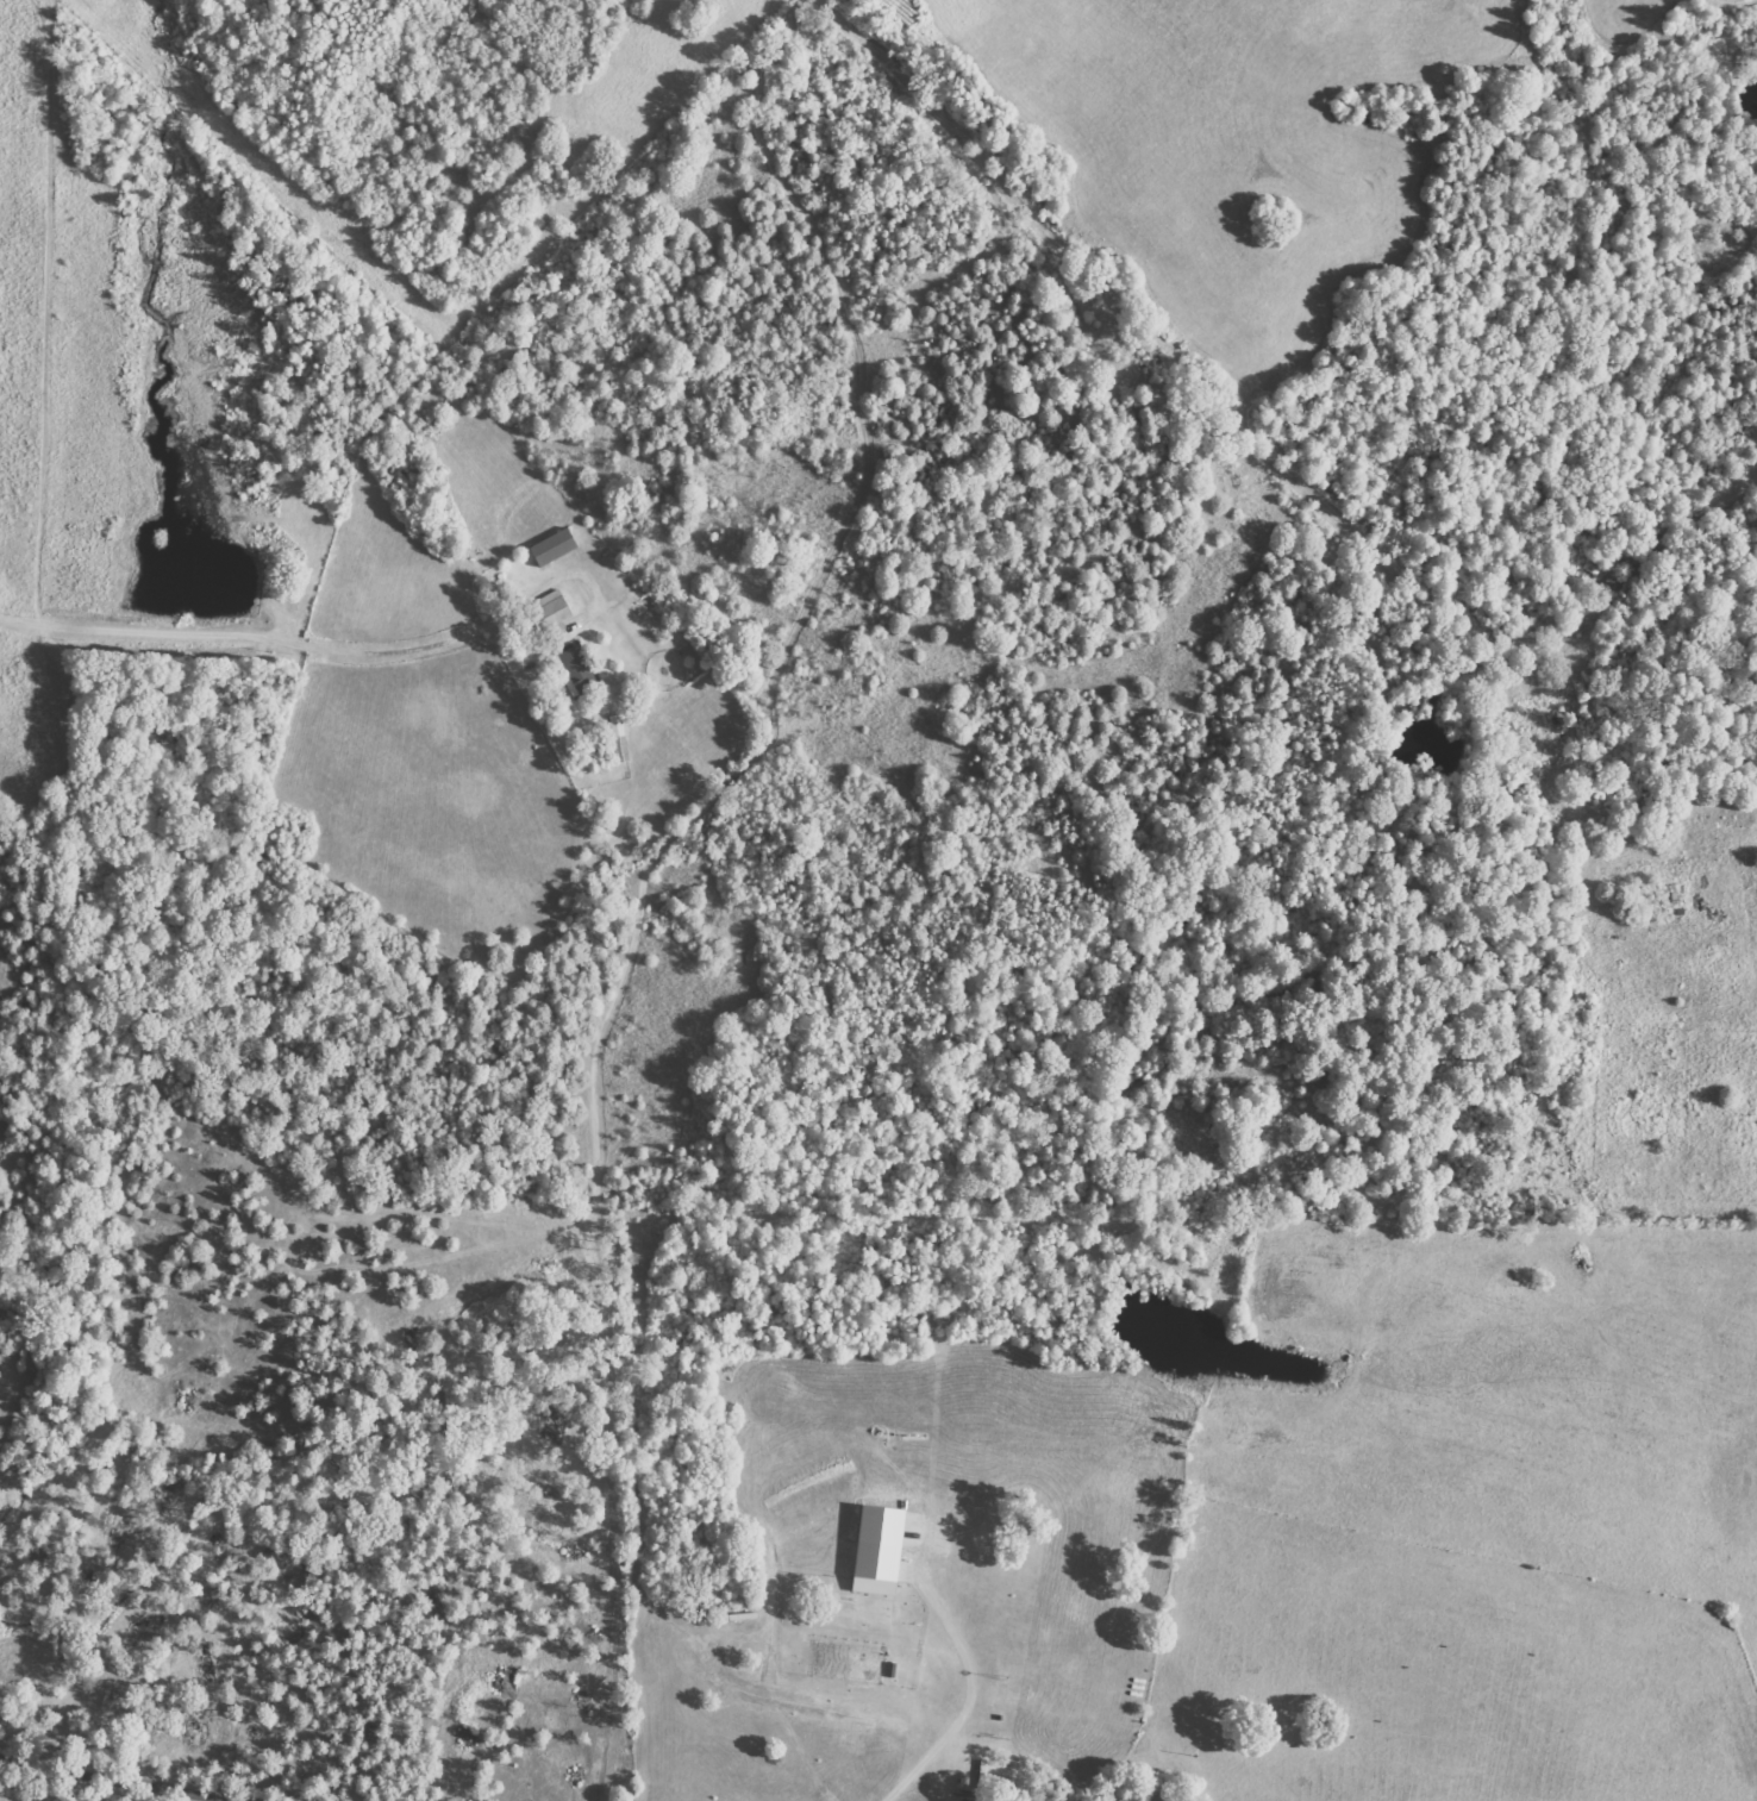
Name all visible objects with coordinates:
road: (7, 49)
road: (1569, 236)
building: (549, 549)
building: (546, 614)
building: (571, 671)
road: (1739, 800)
road: (1626, 1089)
building: (873, 1550)
road: (117, 1782)

